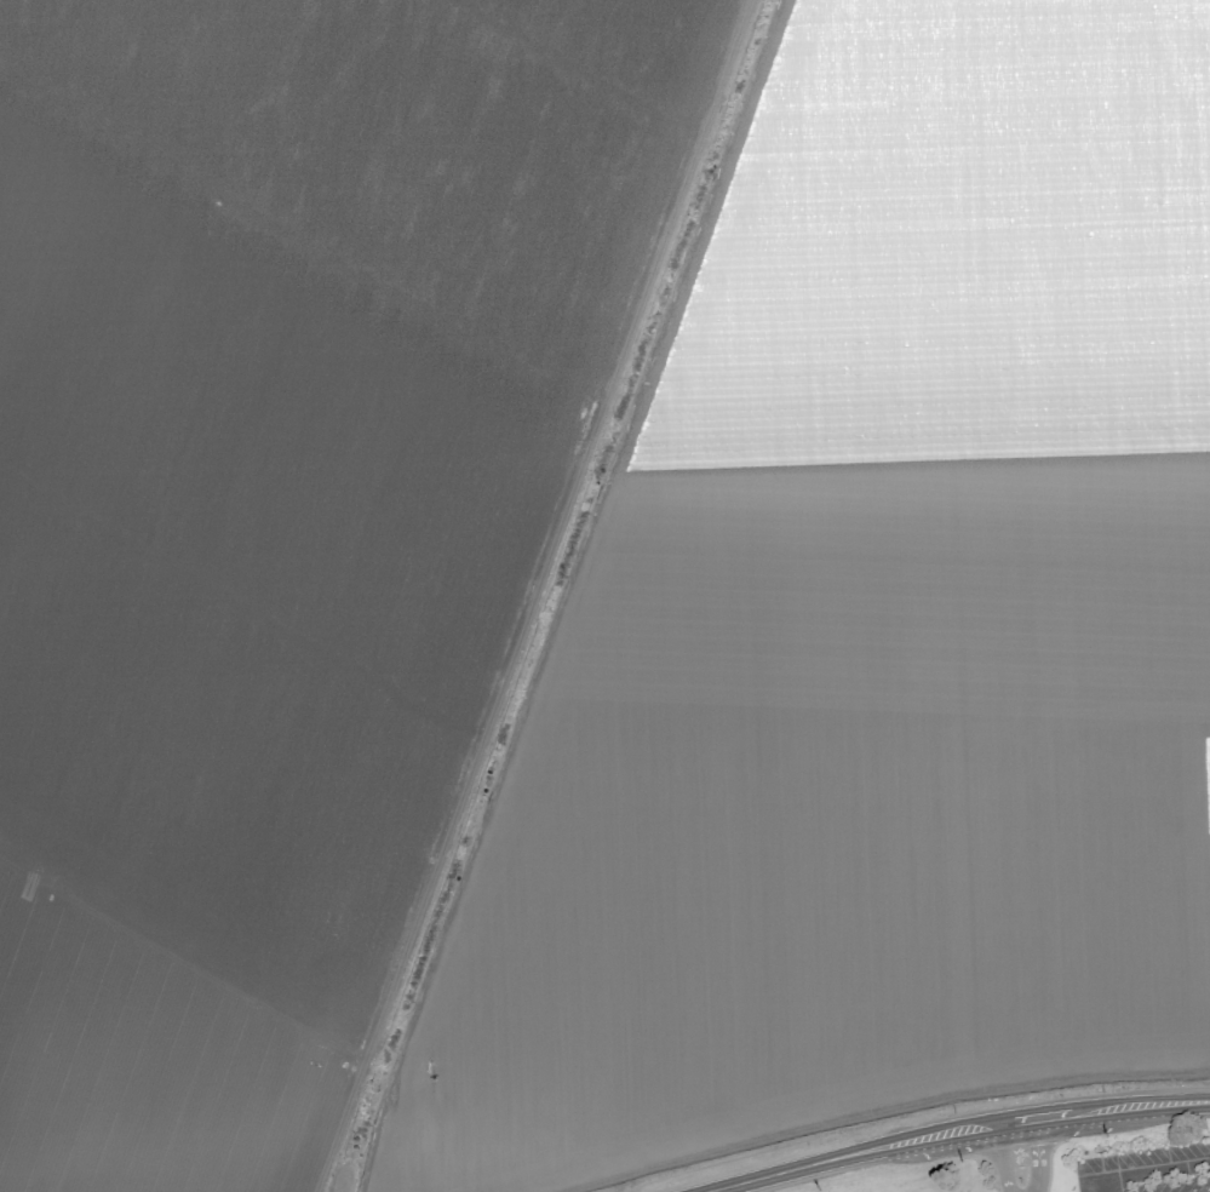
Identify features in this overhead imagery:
crop: (591, 577)
road: (965, 1130)
park: (1136, 1151)
road: (1040, 1153)
road: (996, 1158)
park: (960, 1167)
road: (1146, 1171)
parking lot: (1148, 1173)

